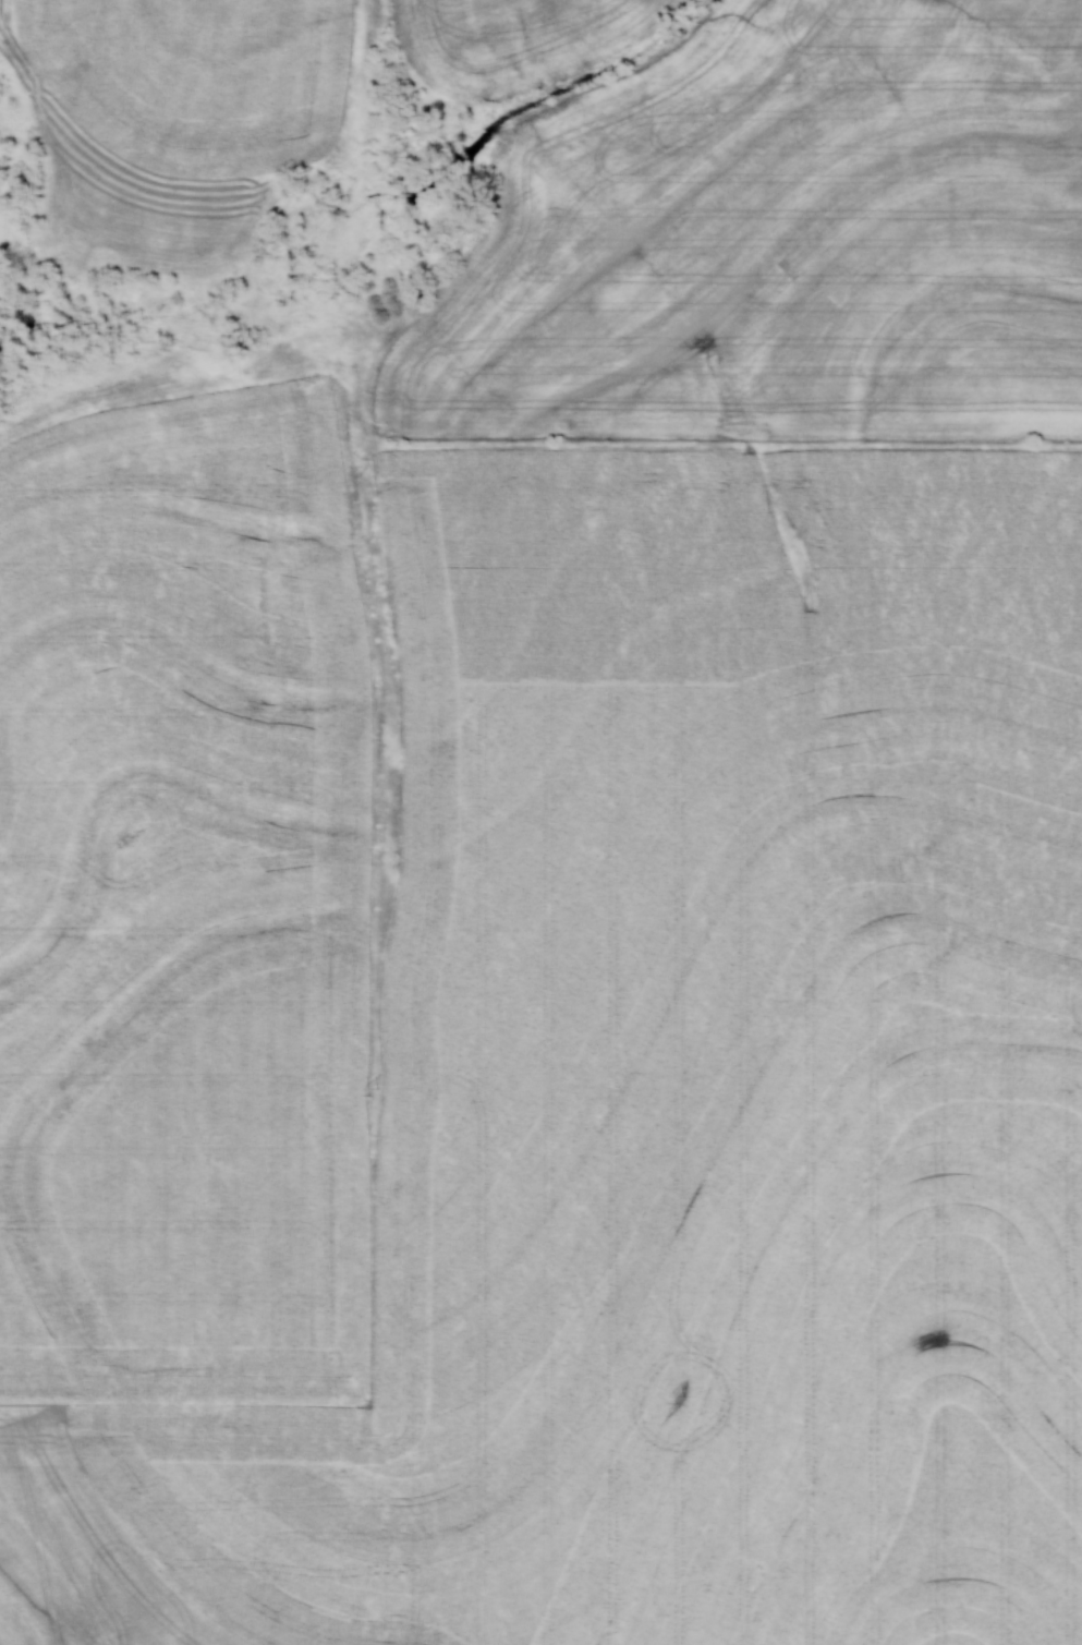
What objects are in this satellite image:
power tower: (125, 838)
power tower: (375, 1090)
power tower: (680, 1399)

